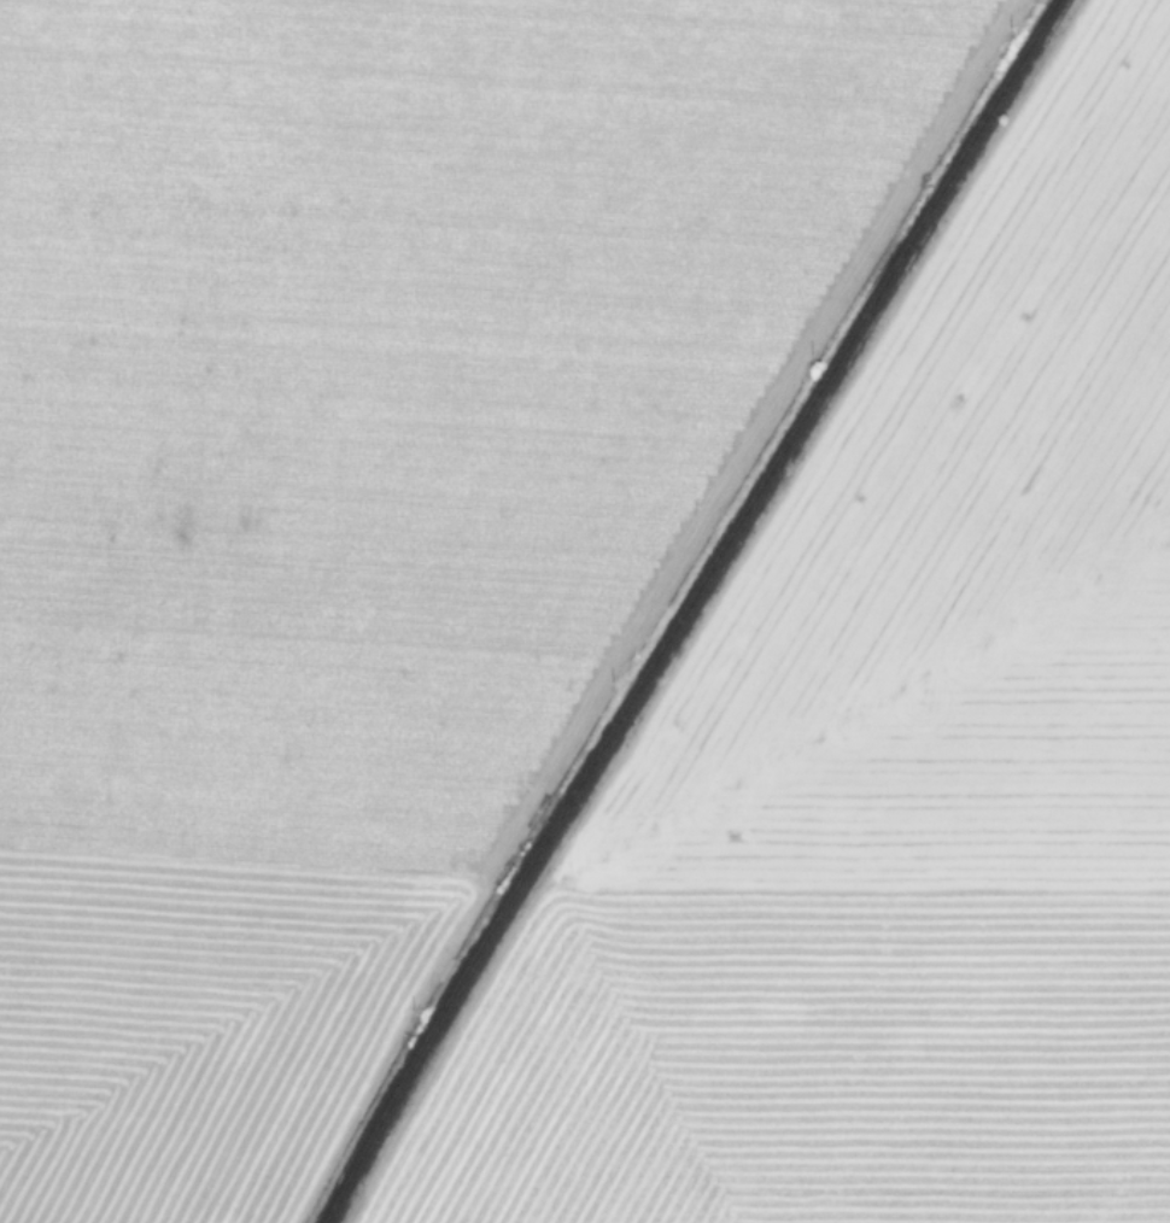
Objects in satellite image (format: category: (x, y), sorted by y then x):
railway: (685, 607)
crop: (585, 611)

